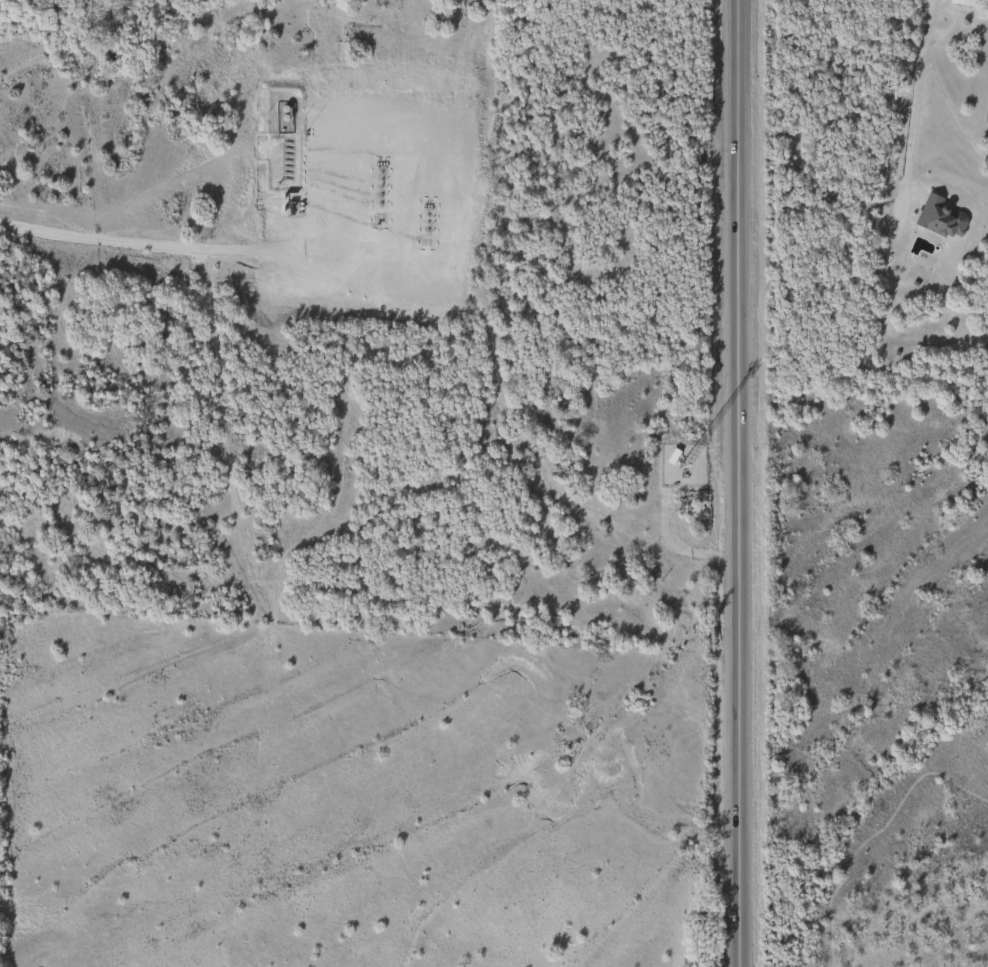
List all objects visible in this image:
road: (913, 90)
building: (936, 215)
road: (141, 240)
building: (670, 456)
road: (737, 483)

